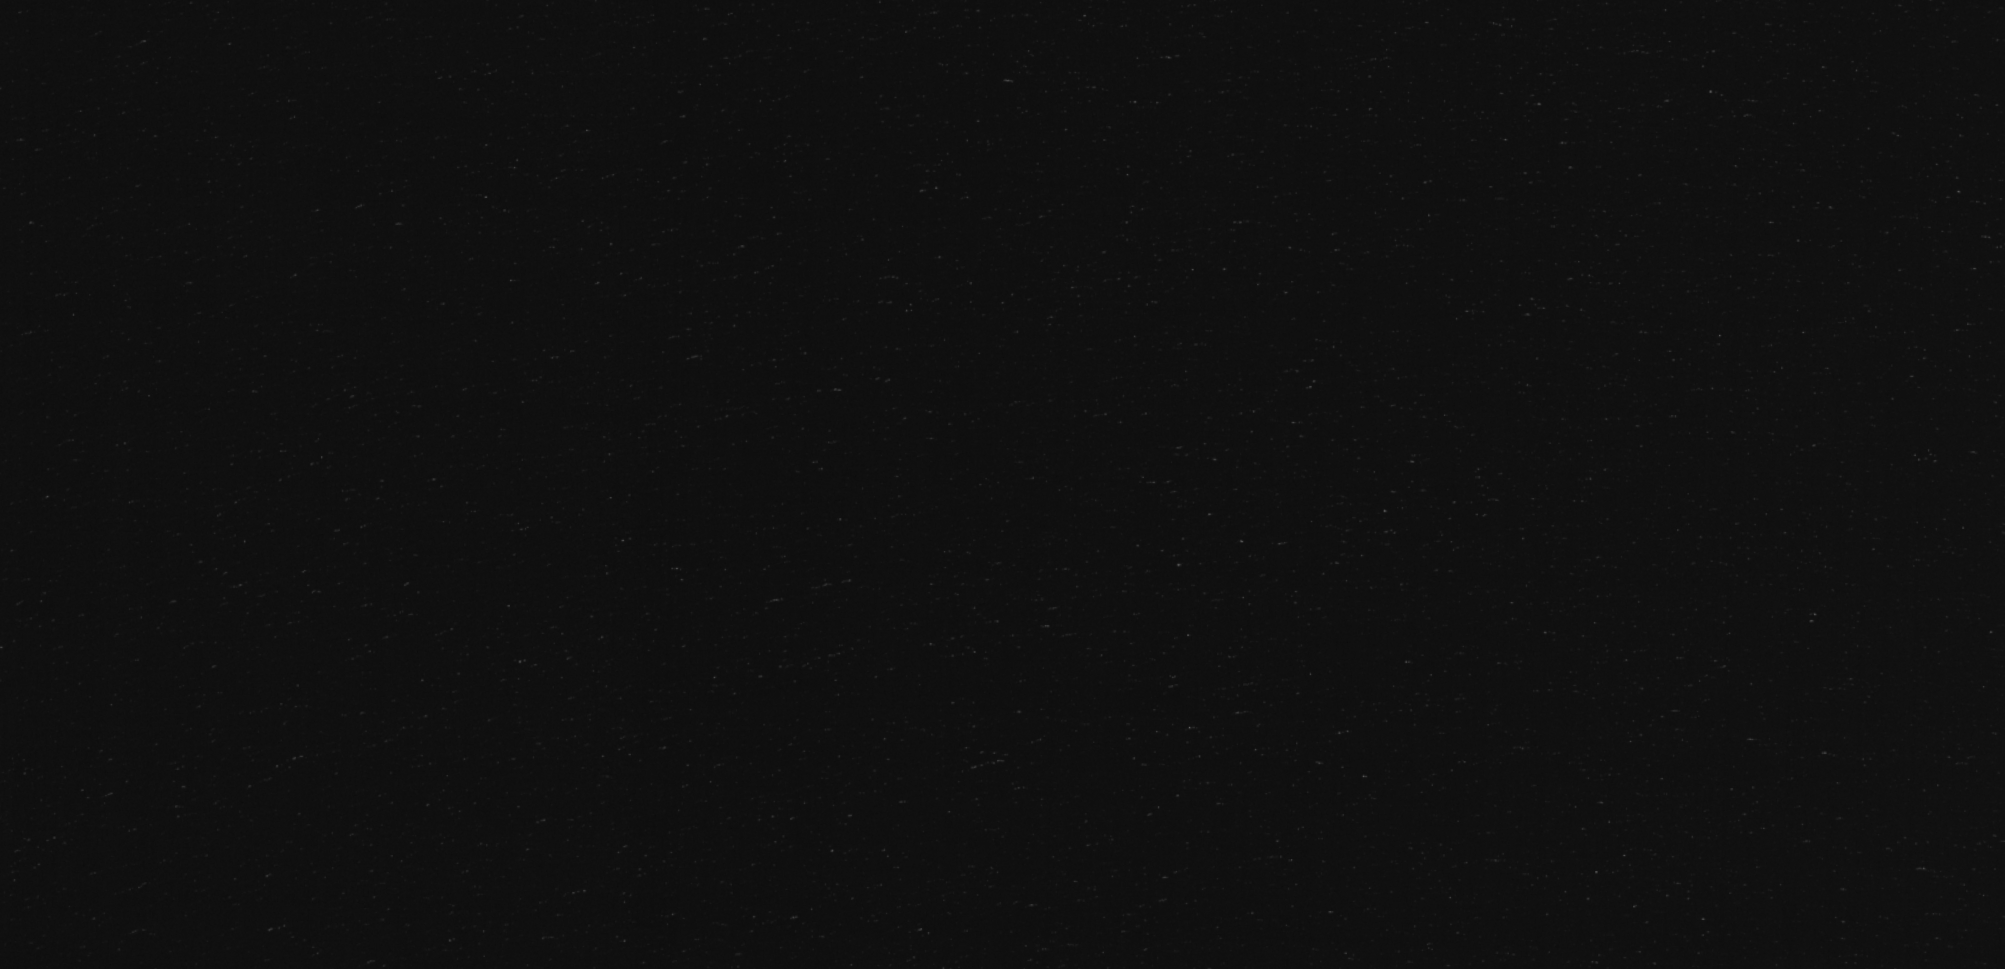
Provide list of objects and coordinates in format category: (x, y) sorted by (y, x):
river: (500, 474)

